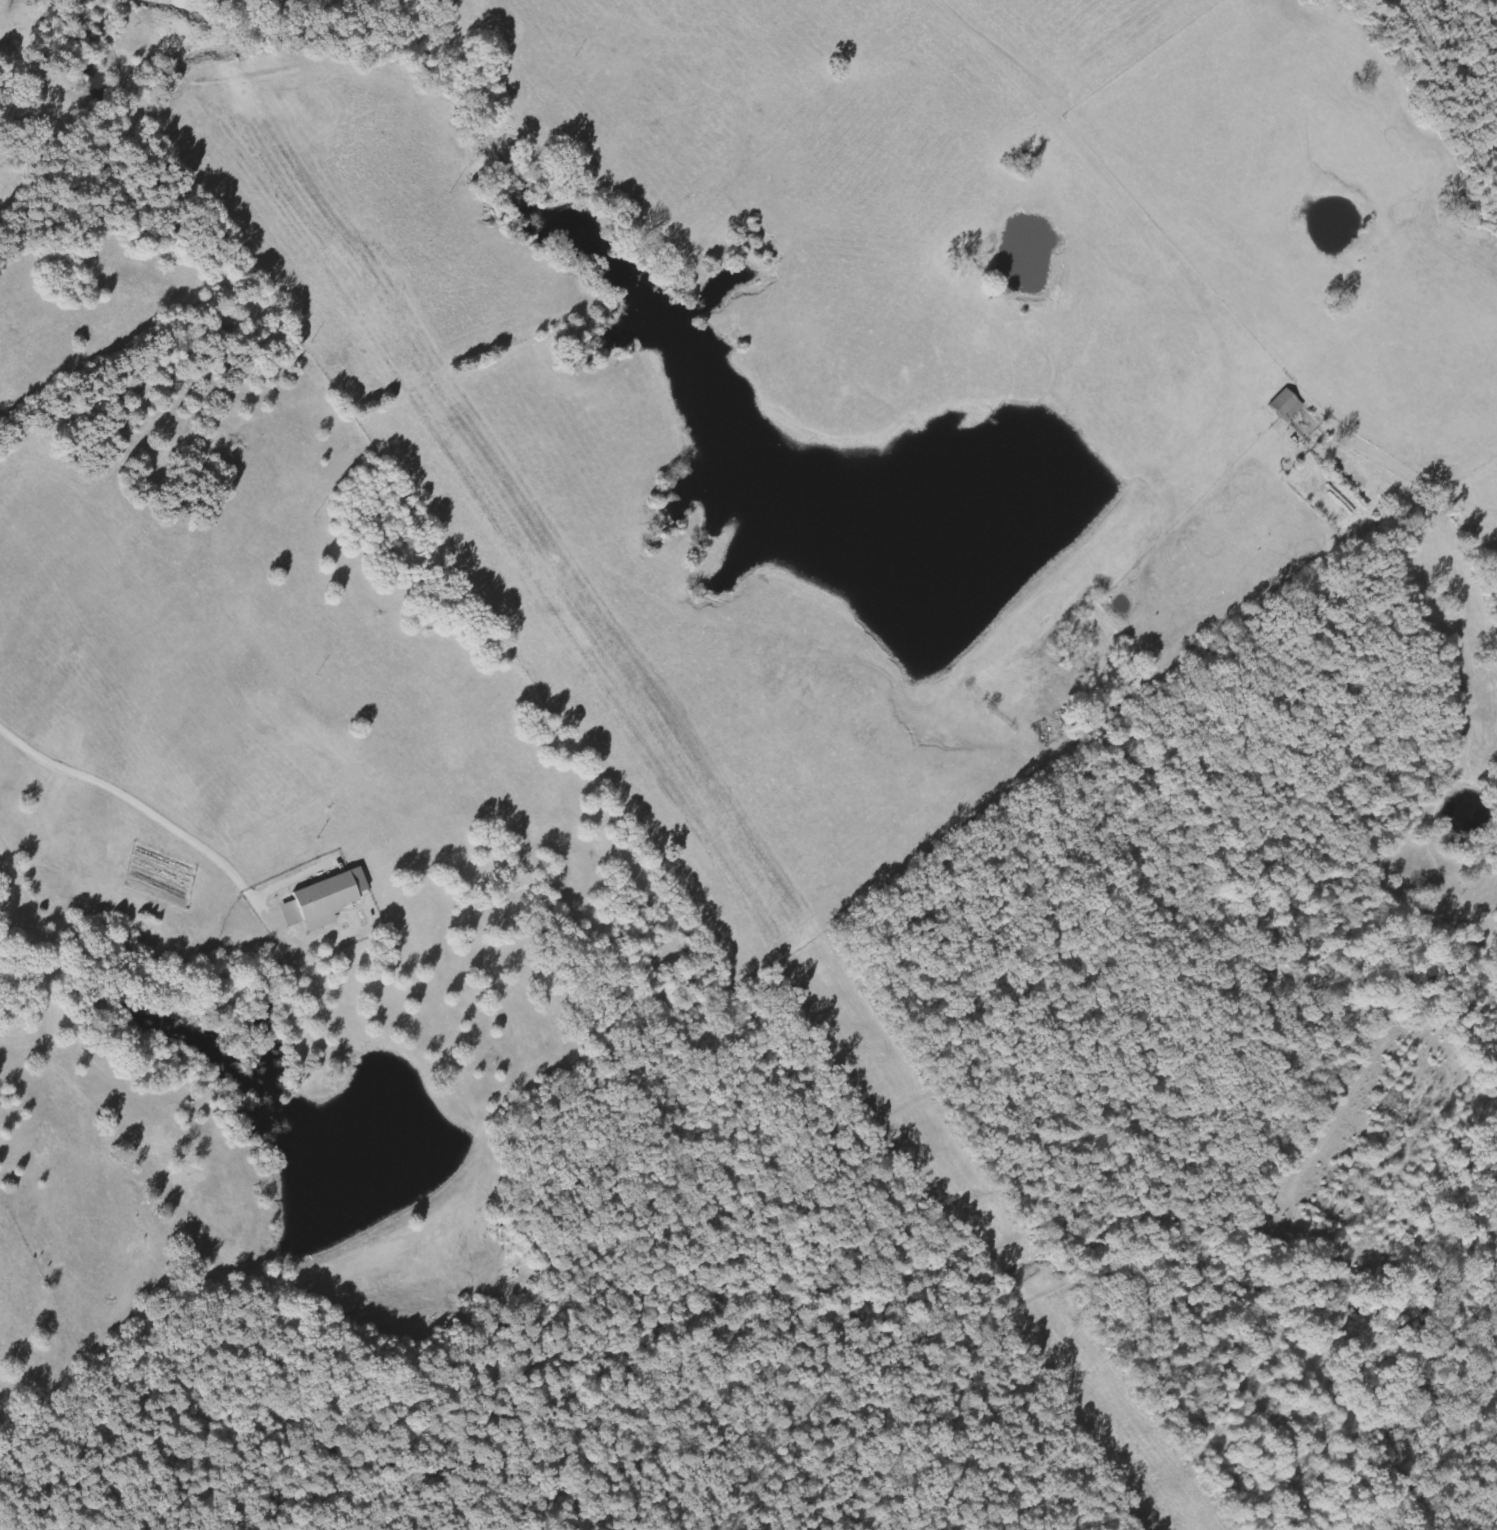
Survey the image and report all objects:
road: (1126, 208)
building: (1288, 405)
building: (327, 900)

